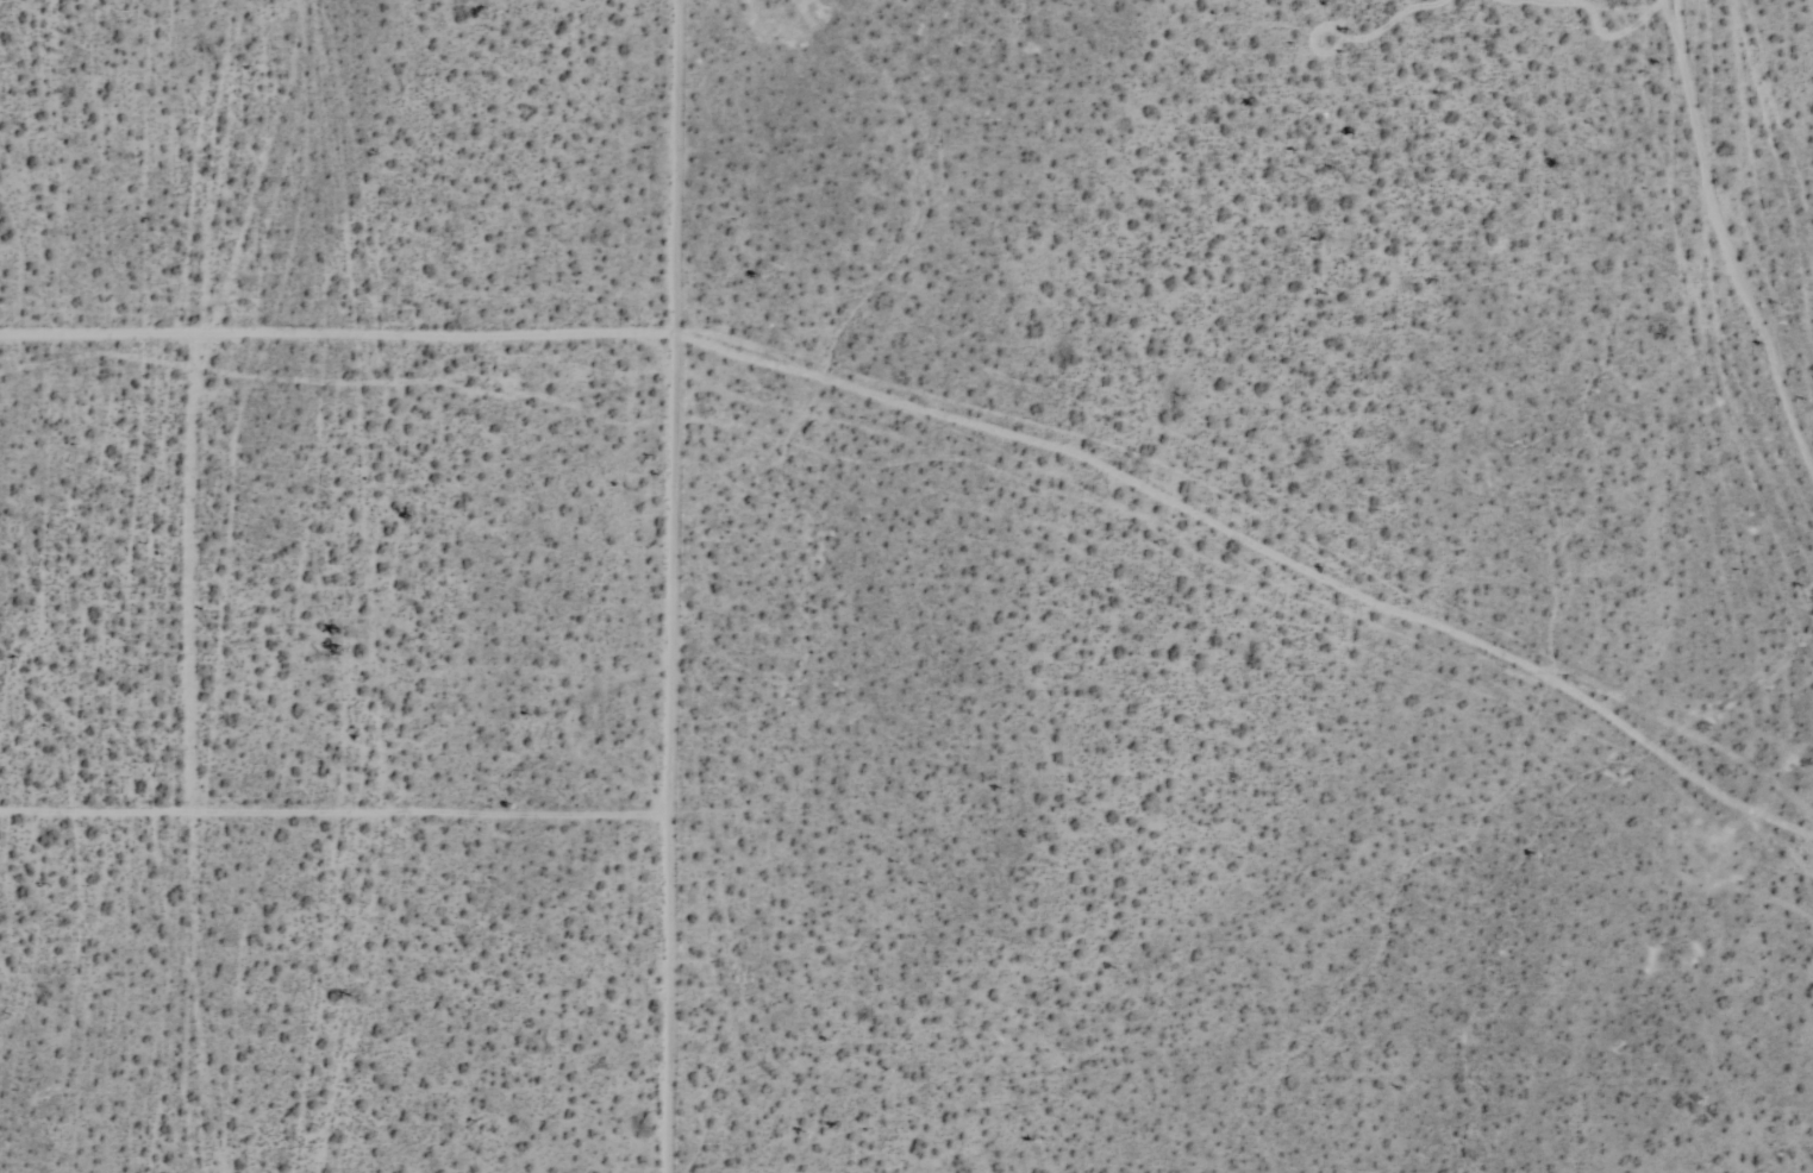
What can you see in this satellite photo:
road: (680, 276)
road: (339, 331)
road: (193, 578)
road: (669, 683)
road: (332, 821)

